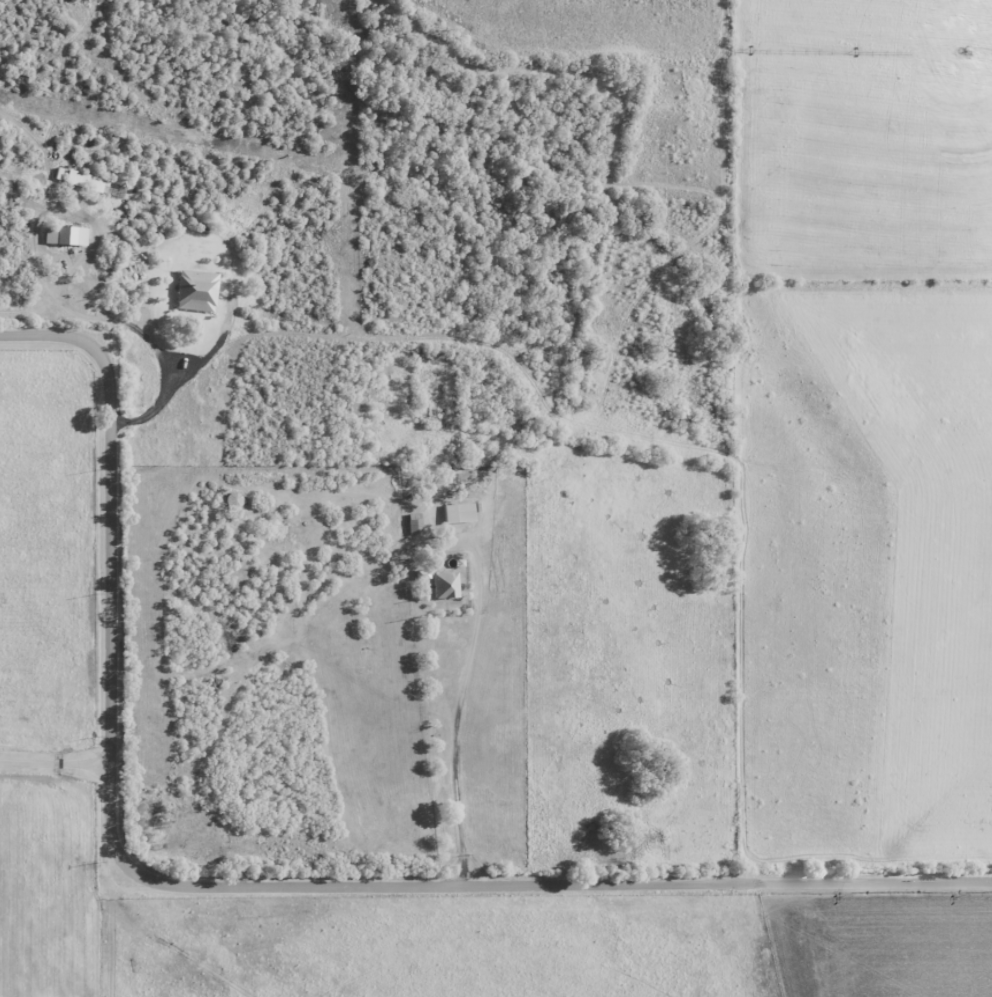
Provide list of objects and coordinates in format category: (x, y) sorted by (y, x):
building: (64, 237)
building: (194, 292)
road: (57, 296)
building: (458, 514)
building: (414, 527)
building: (443, 587)
road: (56, 762)
road: (459, 765)
road: (242, 884)
road: (93, 935)

